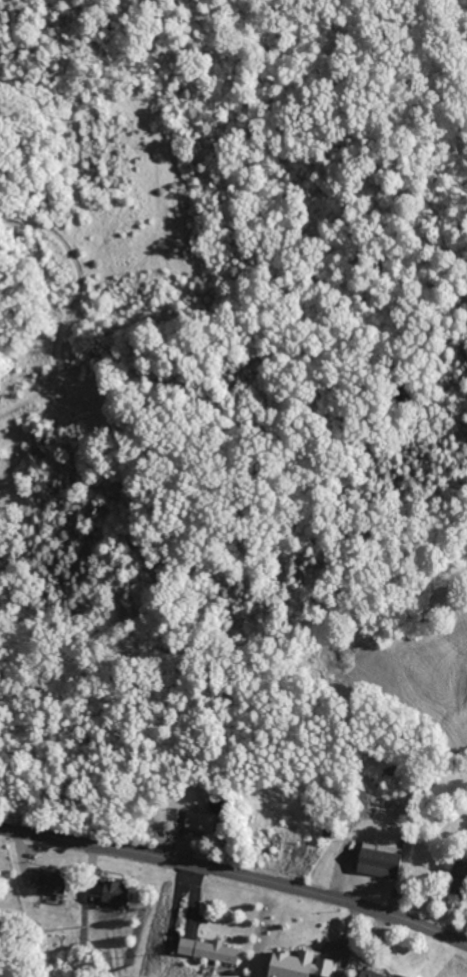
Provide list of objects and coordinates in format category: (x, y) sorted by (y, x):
building: (181, 816)
building: (199, 821)
building: (376, 863)
road: (236, 876)
building: (457, 880)
building: (49, 884)
building: (111, 894)
building: (207, 951)
building: (296, 965)
building: (367, 974)

